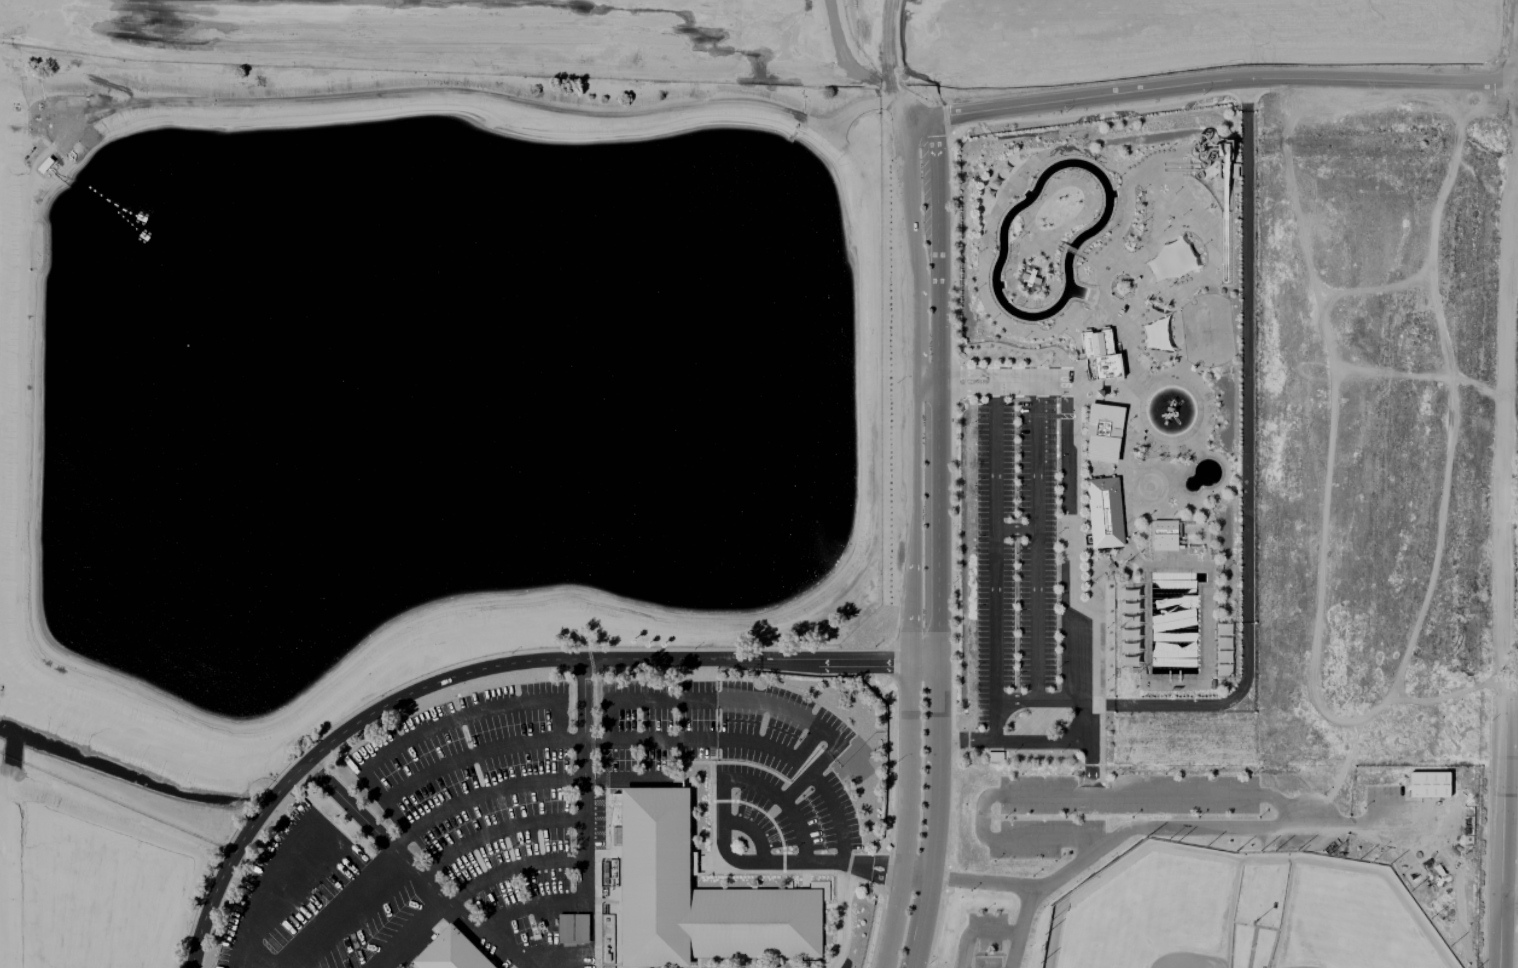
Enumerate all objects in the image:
road: (763, 77)
park: (1207, 329)
building: (1103, 355)
road: (959, 372)
road: (1029, 381)
road: (958, 389)
water park: (1101, 429)
building: (1103, 432)
road: (1246, 470)
road: (1516, 498)
building: (1104, 511)
road: (1015, 528)
road: (915, 529)
building: (1164, 534)
road: (1036, 540)
road: (937, 542)
road: (995, 560)
road: (1064, 562)
road: (1517, 666)
road: (489, 667)
road: (729, 699)
road: (1035, 700)
road: (452, 719)
road: (710, 738)
road: (1005, 740)
road: (458, 760)
road: (625, 779)
building: (1428, 783)
road: (1167, 794)
road: (478, 795)
road: (829, 796)
road: (783, 800)
road: (1383, 824)
road: (1140, 826)
road: (981, 829)
road: (493, 830)
road: (751, 832)
road: (788, 862)
road: (509, 867)
road: (983, 882)
road: (267, 888)
building: (698, 894)
road: (1513, 898)
road: (522, 905)
road: (339, 911)
park: (1148, 911)
park: (1351, 919)
building: (572, 928)
road: (976, 931)
road: (411, 935)
building: (450, 952)

